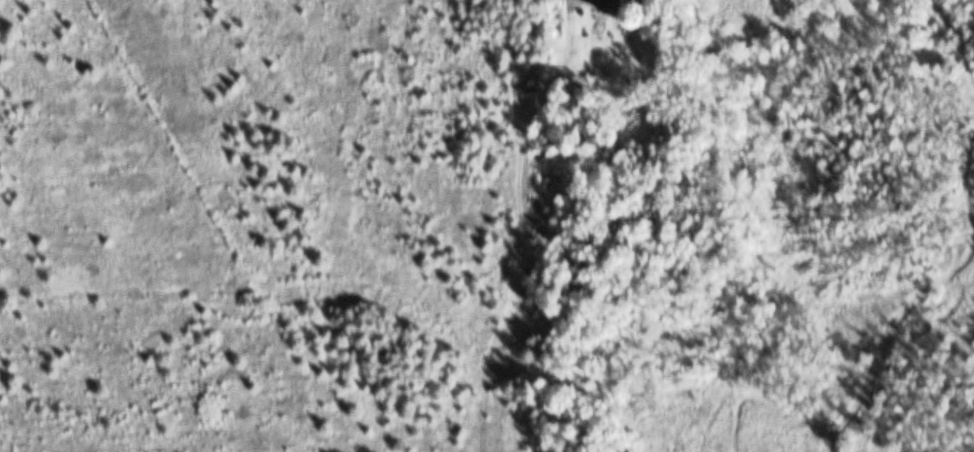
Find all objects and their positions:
building: (610, 4)

